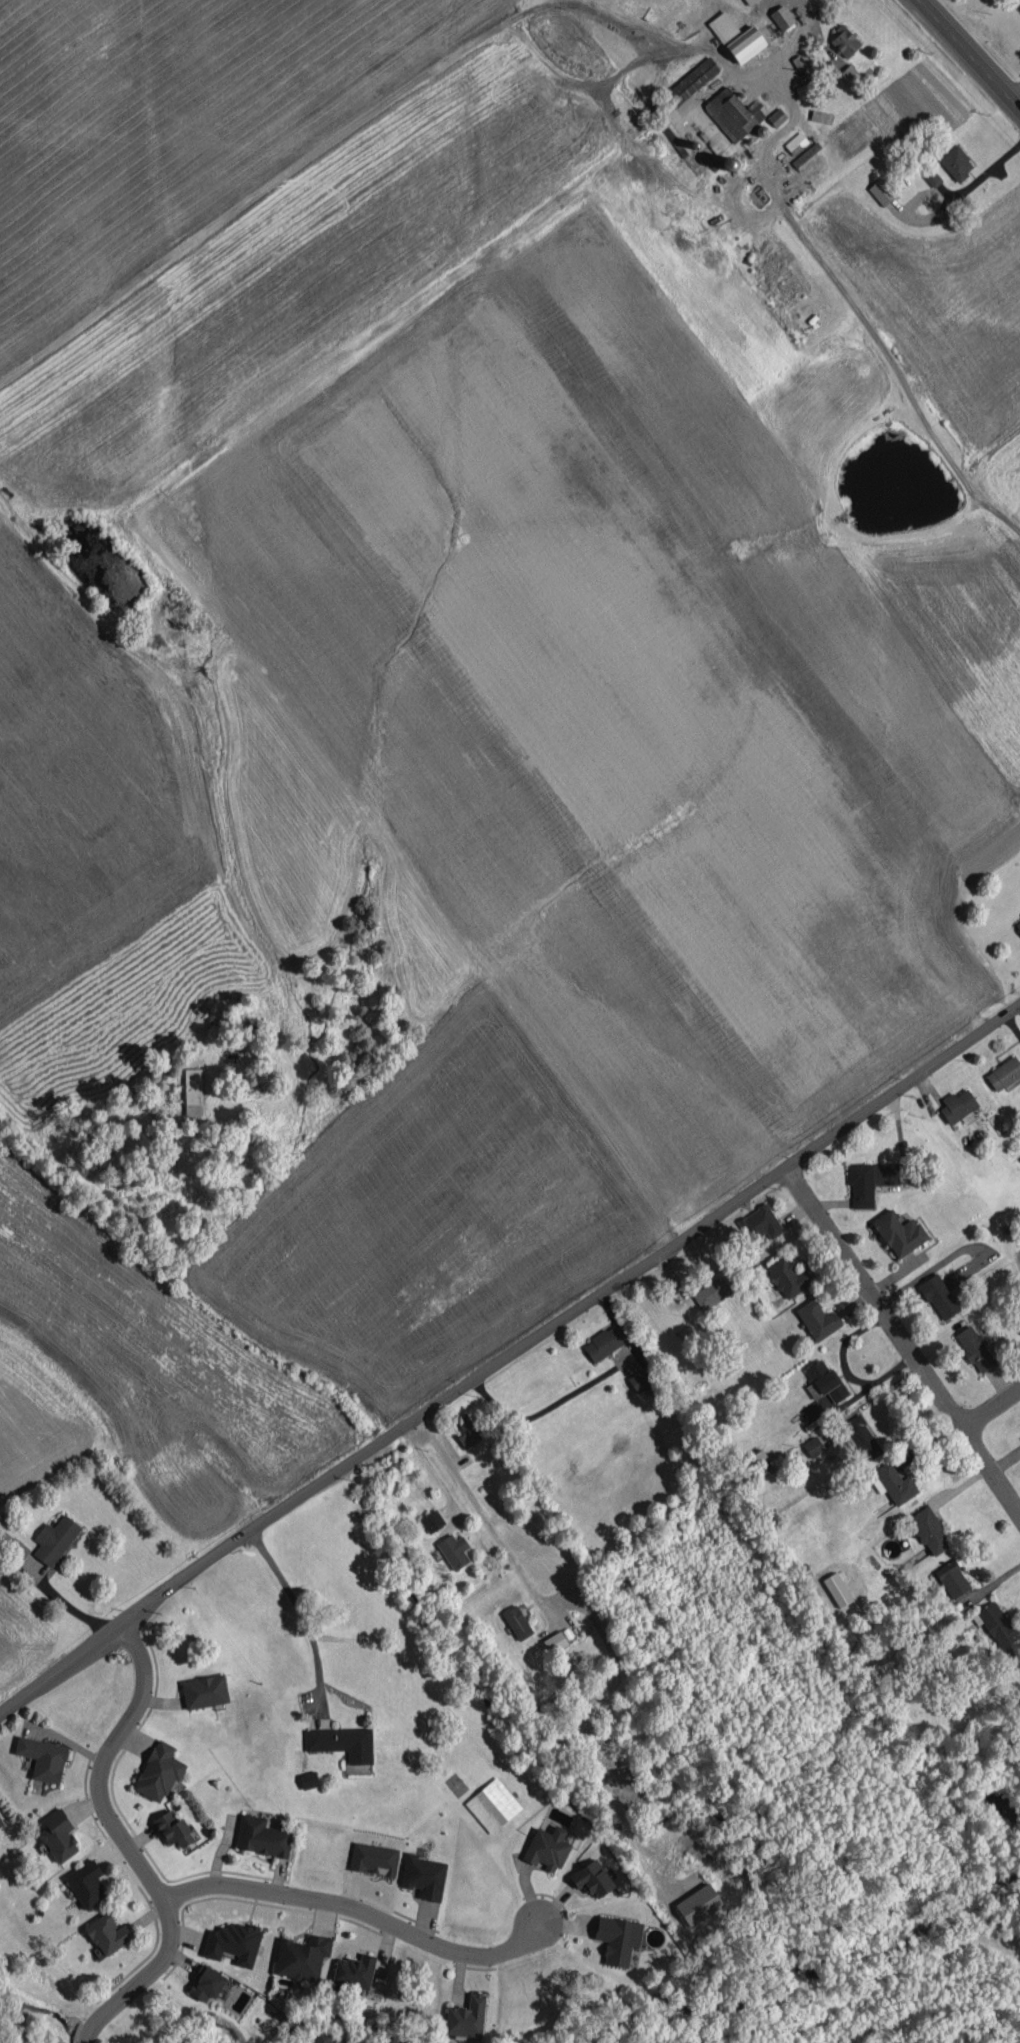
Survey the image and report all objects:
building: (749, 1)
building: (781, 17)
building: (723, 26)
building: (844, 41)
building: (745, 44)
road: (969, 55)
building: (848, 74)
building: (691, 81)
road: (410, 92)
road: (1014, 93)
building: (730, 113)
building: (777, 115)
building: (821, 116)
building: (796, 142)
building: (956, 162)
building: (931, 176)
building: (881, 191)
road: (855, 310)
building: (1018, 924)
building: (1004, 1074)
building: (192, 1091)
building: (957, 1105)
building: (869, 1180)
building: (759, 1223)
building: (898, 1232)
building: (787, 1276)
building: (710, 1292)
building: (938, 1296)
building: (817, 1319)
building: (1018, 1322)
road: (904, 1340)
building: (603, 1342)
building: (974, 1348)
road: (507, 1358)
road: (845, 1369)
building: (641, 1378)
road: (581, 1386)
building: (827, 1386)
road: (990, 1407)
building: (466, 1430)
building: (862, 1437)
building: (813, 1446)
building: (753, 1459)
road: (430, 1470)
building: (893, 1483)
road: (483, 1512)
building: (432, 1520)
building: (929, 1530)
building: (54, 1539)
building: (12, 1546)
building: (453, 1550)
building: (951, 1578)
building: (837, 1589)
road: (64, 1603)
road: (294, 1603)
building: (517, 1622)
building: (996, 1624)
building: (555, 1641)
building: (204, 1691)
building: (341, 1742)
building: (42, 1758)
building: (159, 1771)
building: (0, 1824)
building: (173, 1829)
building: (58, 1835)
building: (261, 1837)
road: (129, 1843)
building: (547, 1847)
building: (374, 1859)
building: (423, 1876)
building: (592, 1878)
building: (86, 1883)
building: (698, 1904)
road: (367, 1913)
building: (107, 1933)
building: (617, 1938)
building: (232, 1942)
building: (302, 1957)
building: (354, 1971)
building: (205, 1983)
building: (466, 2017)
building: (322, 2037)

